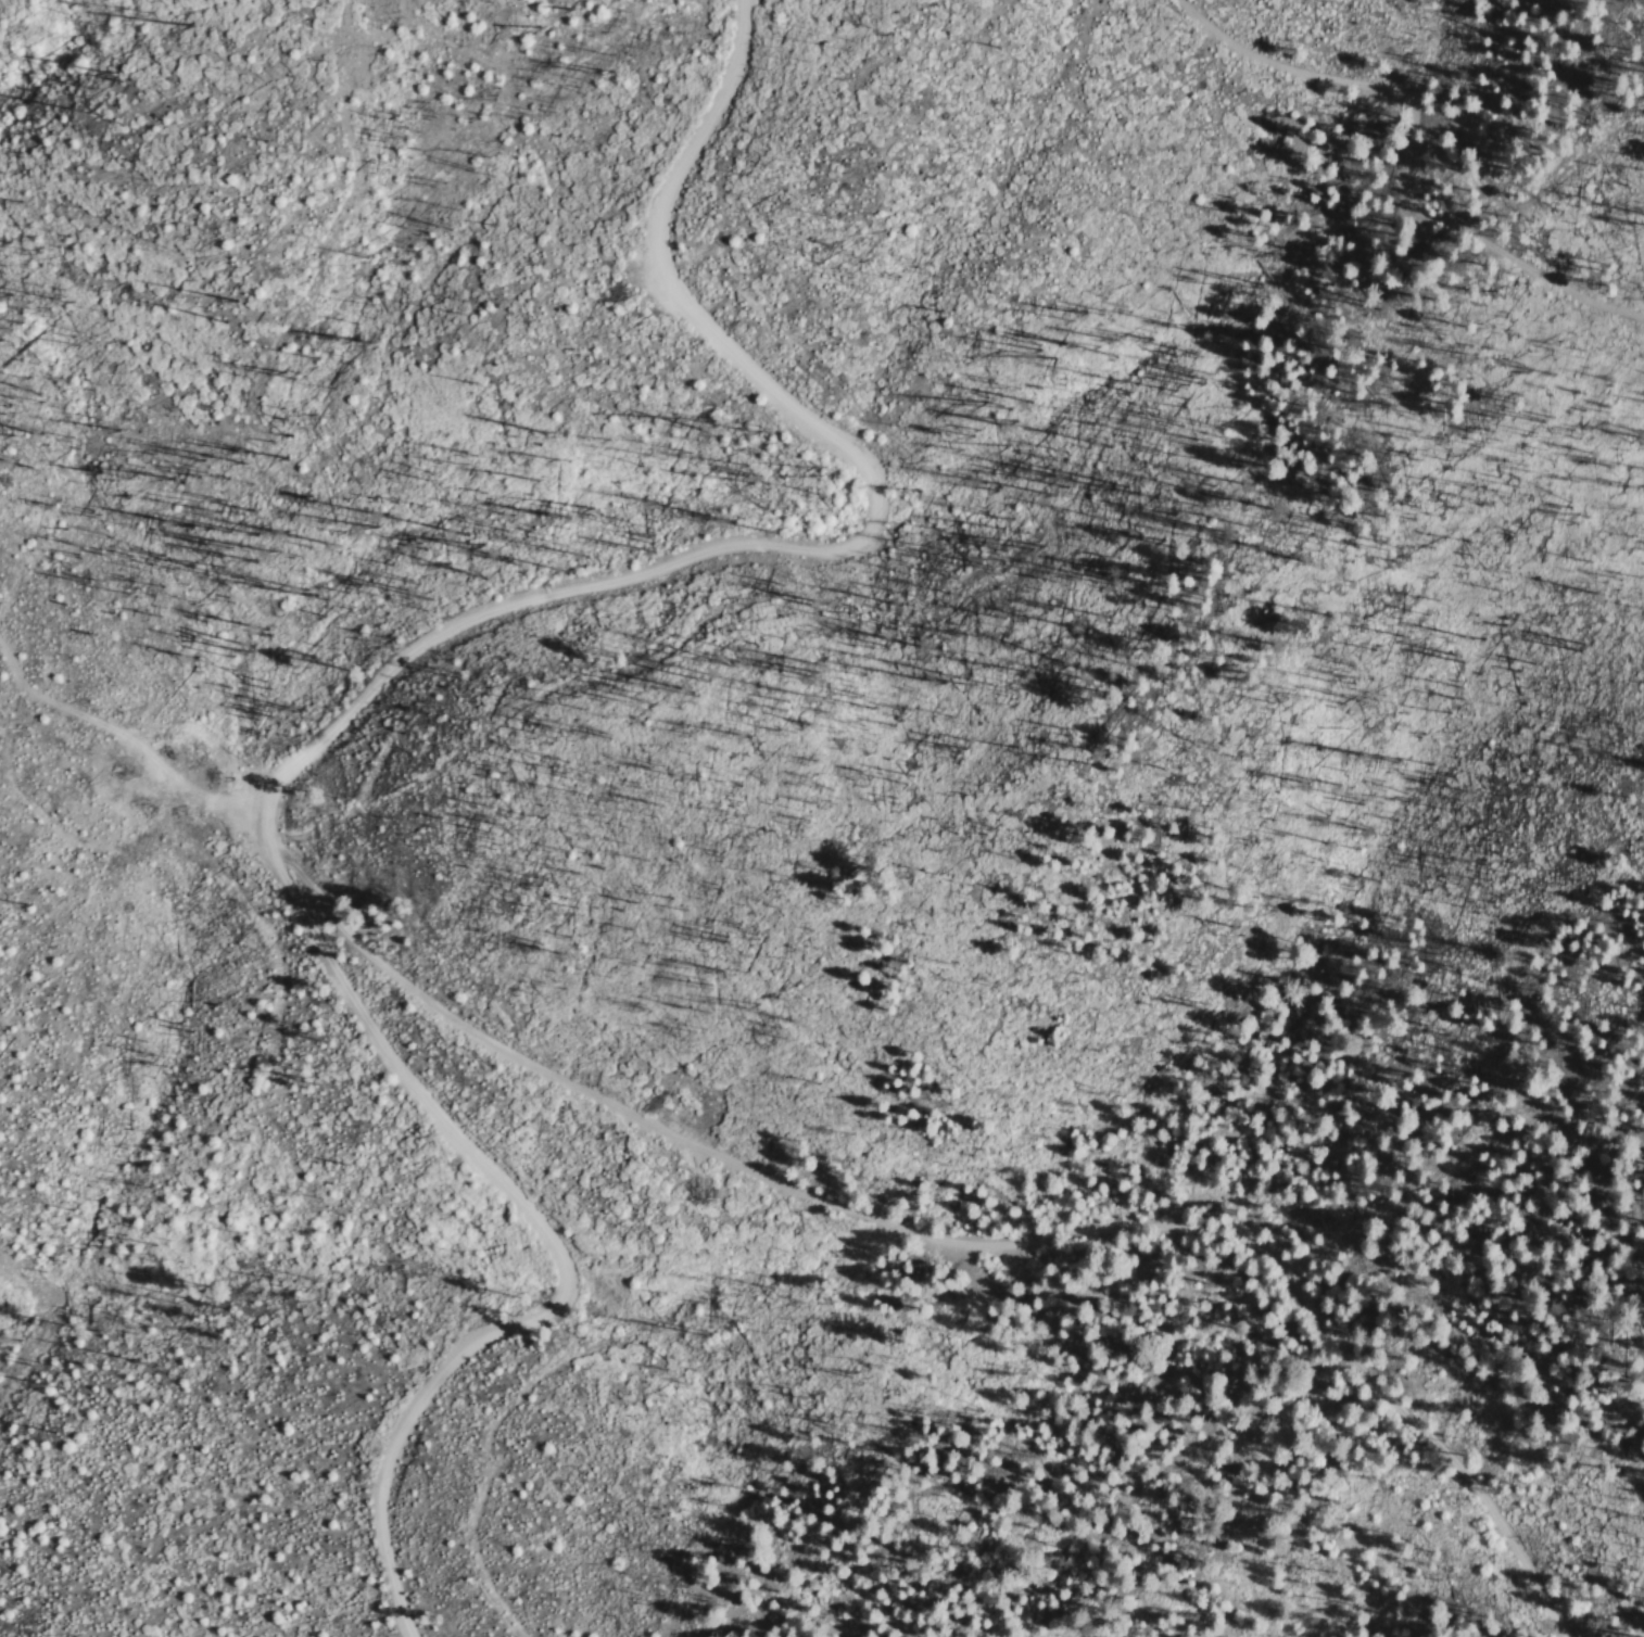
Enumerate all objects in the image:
road: (1414, 153)
road: (822, 549)
road: (117, 743)
road: (990, 1245)
road: (557, 1249)

